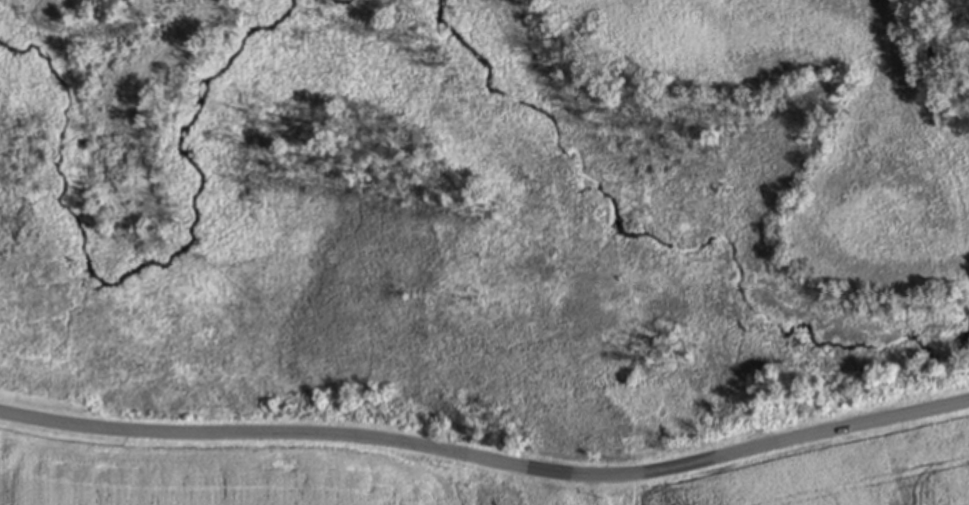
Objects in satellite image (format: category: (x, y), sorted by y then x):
road: (487, 459)

